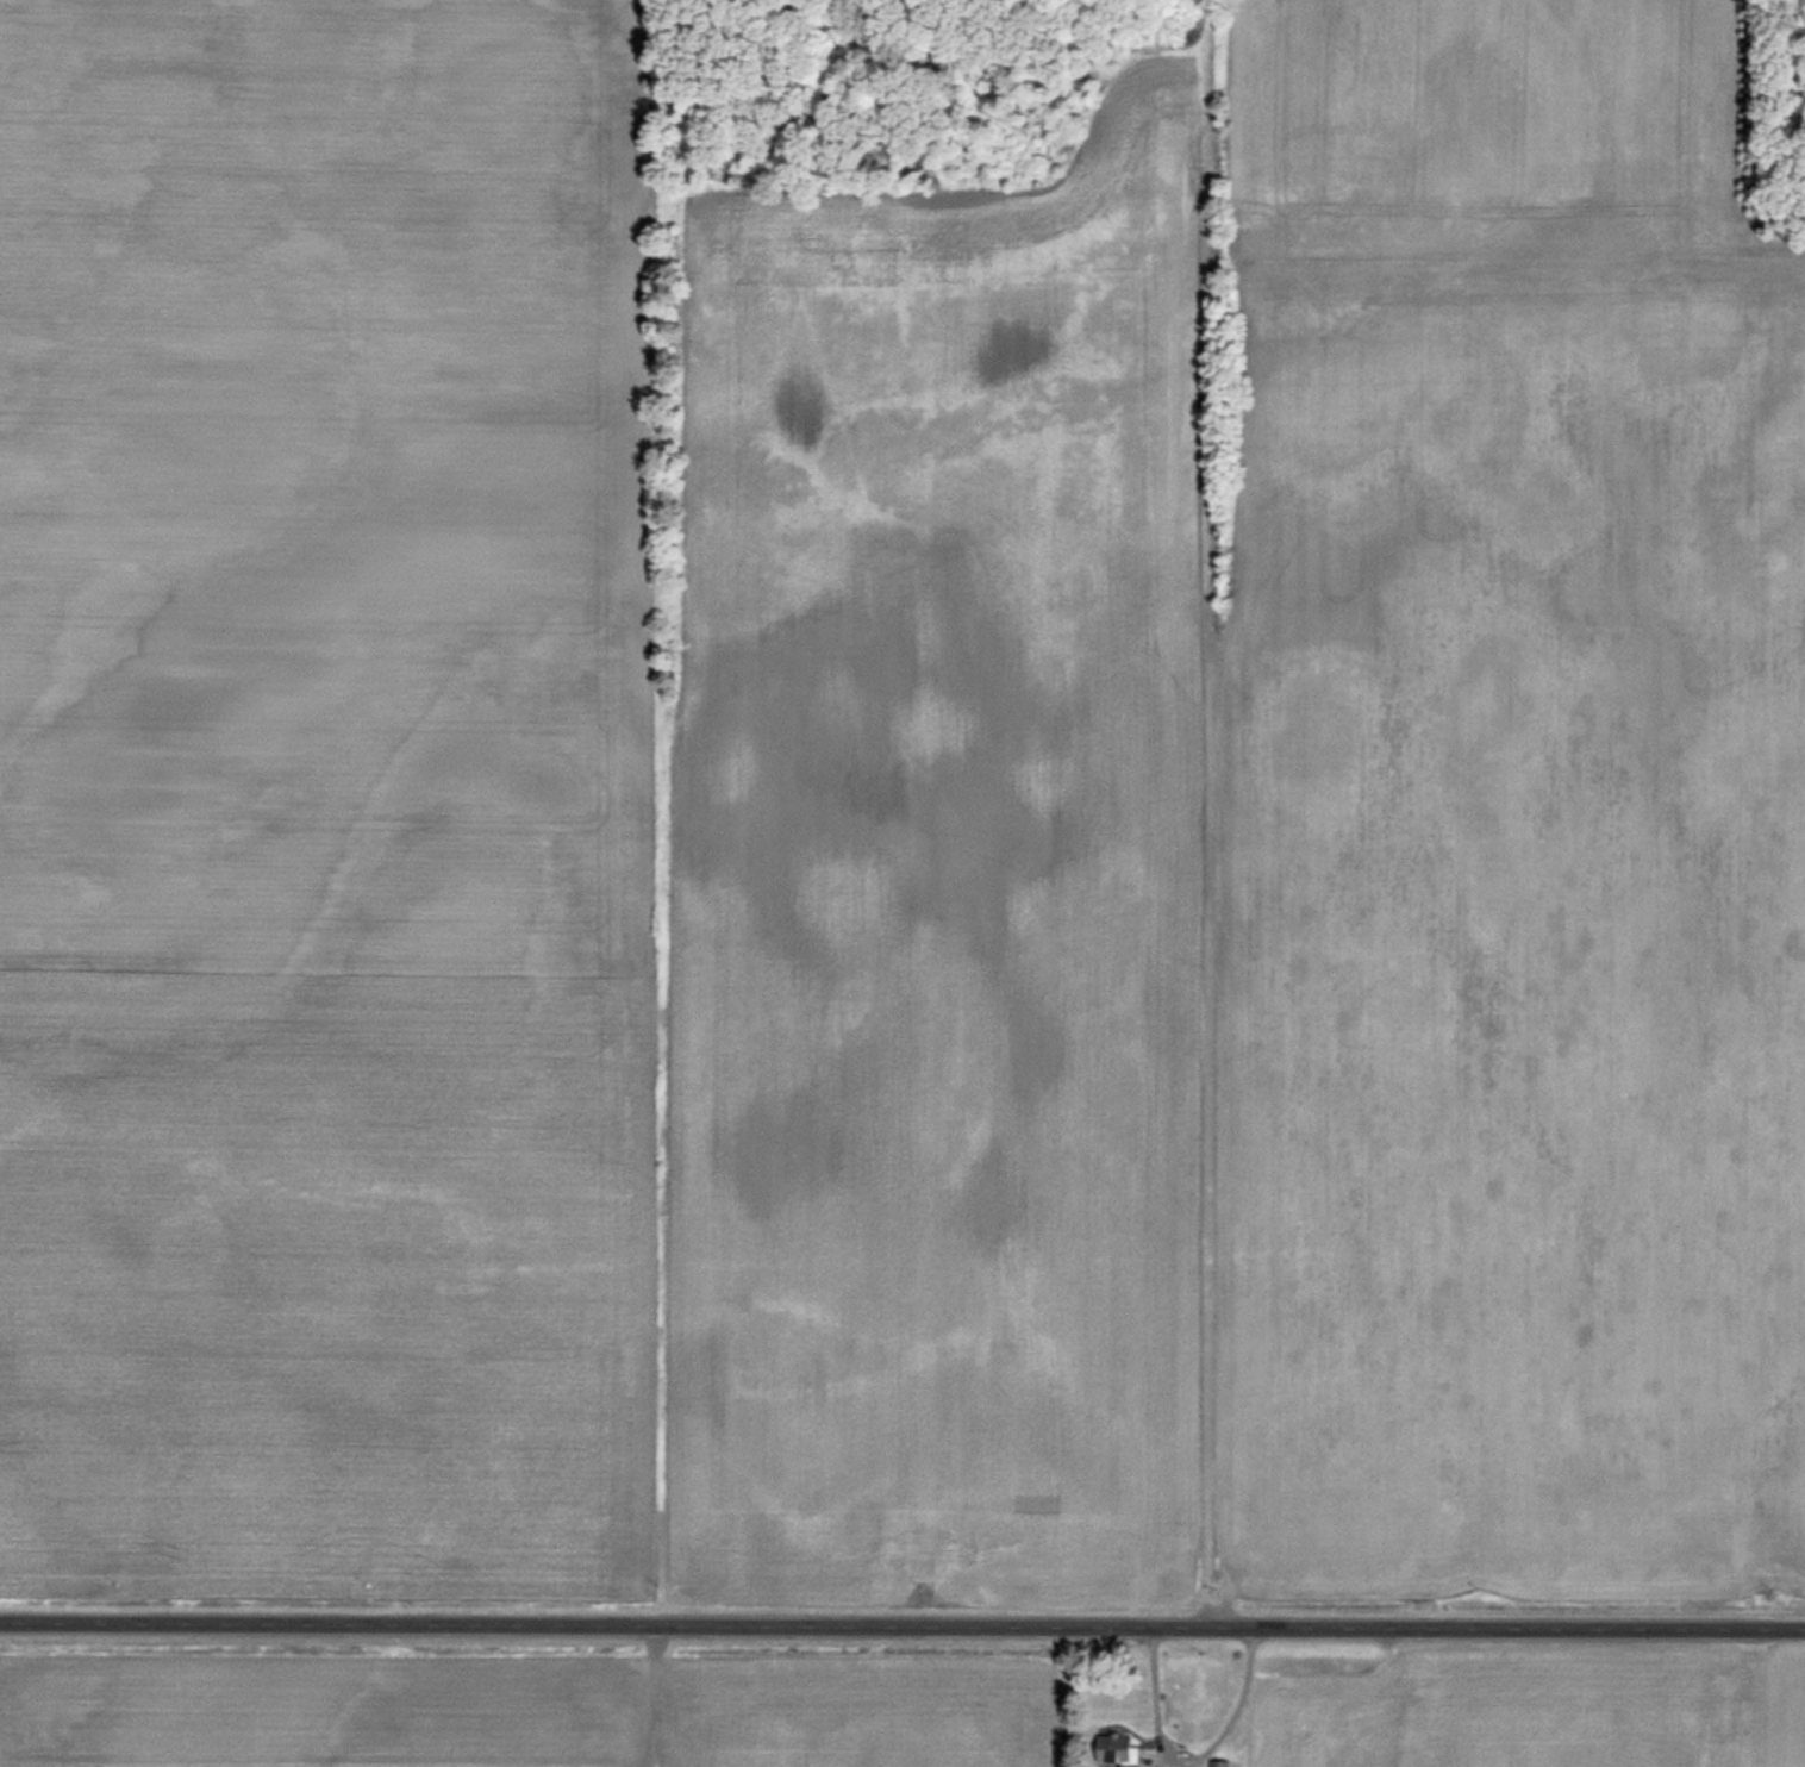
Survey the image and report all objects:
road: (901, 1628)
road: (1226, 1703)
building: (1303, 1729)
building: (1122, 1750)
building: (1222, 1763)

